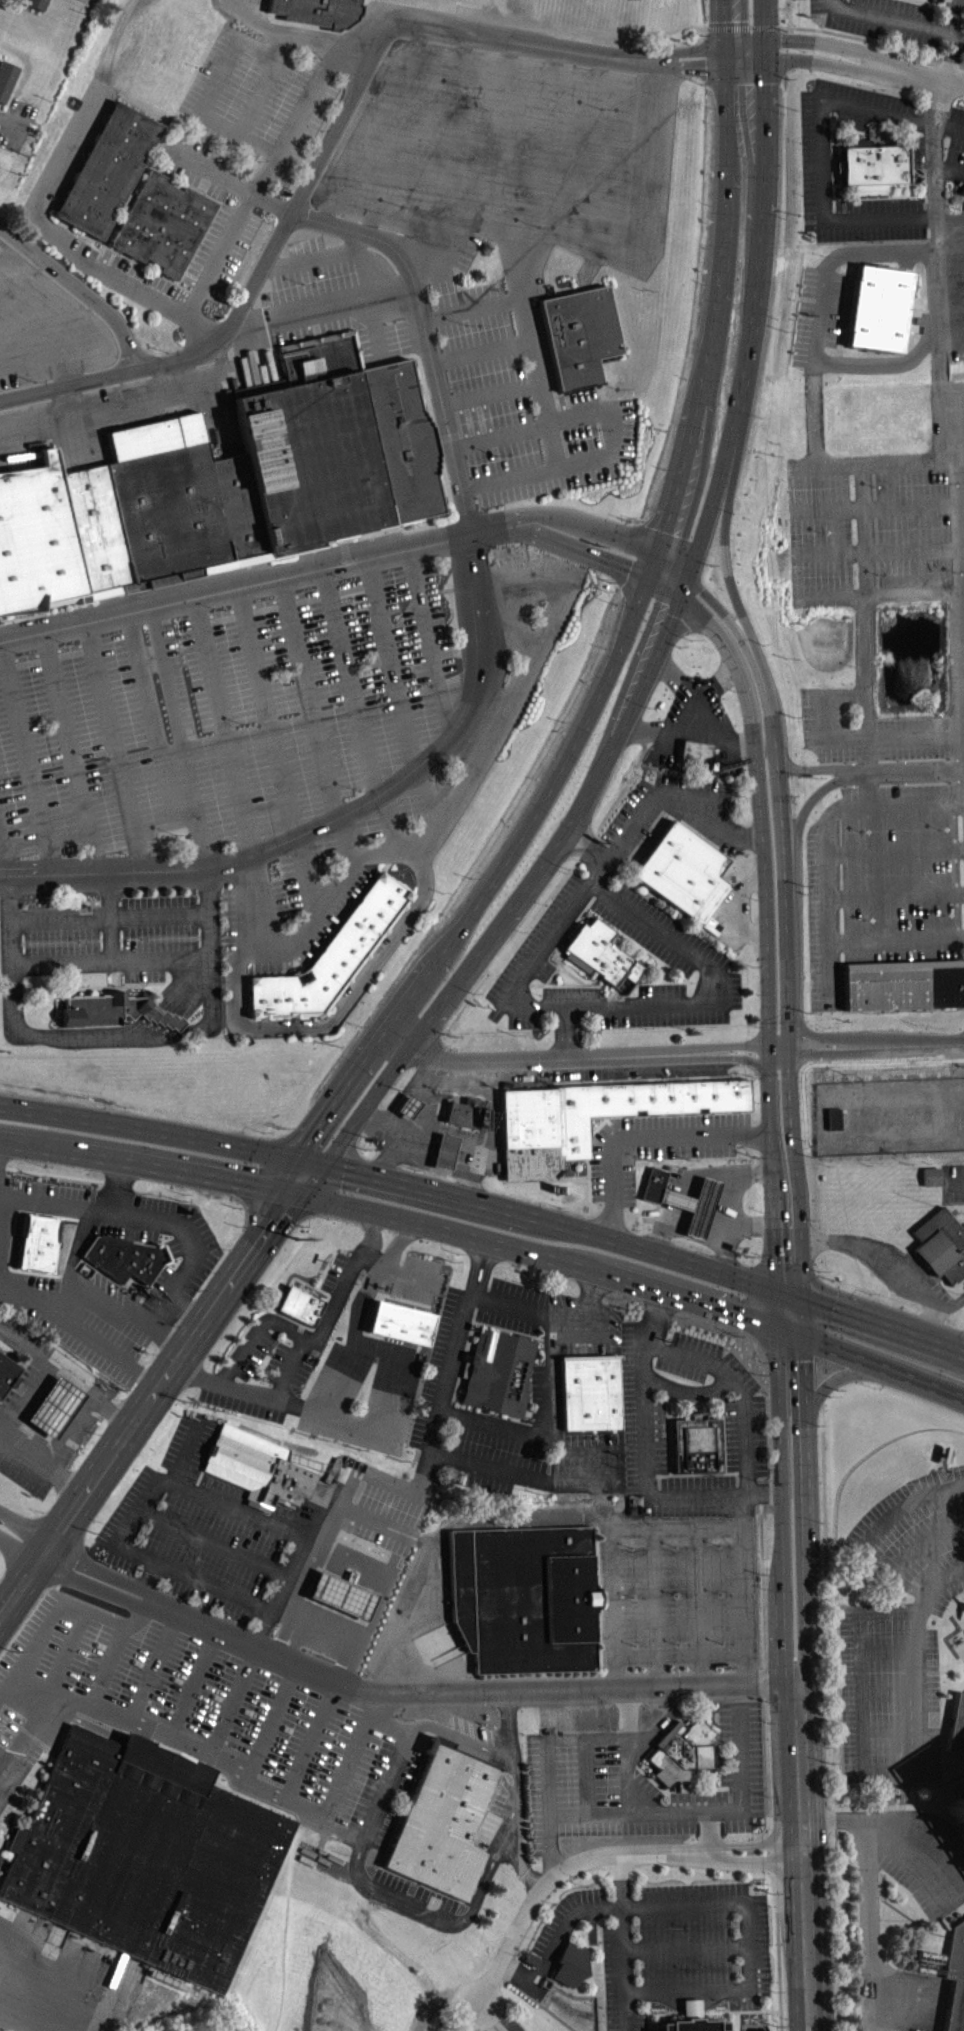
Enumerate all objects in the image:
building: (75, 0)
building: (33, 4)
building: (319, 11)
road: (765, 20)
road: (719, 23)
road: (742, 26)
road: (657, 31)
road: (872, 40)
traffic signals: (764, 41)
road: (742, 44)
road: (825, 44)
traffic signals: (721, 47)
road: (689, 50)
road: (763, 50)
road: (721, 54)
traffic signals: (763, 60)
road: (742, 61)
road: (823, 62)
traffic signals: (722, 63)
street lamp: (195, 64)
road: (691, 64)
road: (923, 75)
street lamp: (688, 77)
building: (5, 79)
street lamp: (466, 86)
road: (313, 97)
street lamp: (602, 107)
street lamp: (321, 128)
parking lot: (443, 138)
road: (817, 155)
parking lot: (814, 160)
road: (317, 162)
building: (913, 162)
building: (869, 167)
building: (107, 168)
street lamp: (402, 206)
building: (163, 222)
street lamp: (539, 226)
road: (936, 241)
road: (760, 243)
road: (226, 250)
road: (513, 253)
street lamp: (303, 282)
road: (79, 287)
road: (472, 306)
building: (877, 306)
road: (718, 313)
parking lot: (818, 315)
street lamp: (465, 323)
road: (819, 324)
building: (580, 334)
street lamp: (166, 350)
road: (481, 350)
building: (320, 355)
street lamp: (34, 380)
road: (489, 391)
parking lot: (521, 405)
road: (612, 427)
street lamp: (600, 429)
street lamp: (495, 453)
building: (336, 454)
road: (911, 459)
road: (961, 485)
road: (875, 504)
building: (160, 508)
road: (708, 509)
road: (594, 529)
building: (36, 539)
road: (864, 539)
street lamp: (493, 545)
road: (876, 547)
road: (587, 551)
traffic signals: (657, 556)
road: (725, 559)
road: (653, 565)
traffic signals: (650, 575)
street lamp: (347, 577)
traffic signals: (687, 577)
road: (263, 579)
road: (664, 584)
road: (877, 591)
traffic signals: (679, 594)
street lamp: (220, 607)
road: (722, 612)
road: (687, 626)
street lamp: (64, 640)
road: (428, 642)
road: (391, 660)
road: (477, 677)
road: (715, 679)
road: (346, 682)
street lamp: (417, 684)
road: (307, 696)
parking lot: (885, 700)
road: (696, 710)
road: (267, 711)
parking lot: (231, 712)
street lamp: (246, 722)
road: (153, 726)
road: (222, 726)
road: (659, 728)
road: (824, 729)
parking lot: (696, 731)
road: (915, 734)
road: (179, 736)
road: (113, 744)
road: (70, 750)
building: (694, 751)
road: (26, 755)
street lamp: (95, 757)
road: (817, 766)
road: (910, 768)
street lamp: (357, 789)
road: (670, 798)
road: (758, 798)
road: (806, 804)
road: (832, 811)
parking lot: (675, 815)
road: (389, 816)
street lamp: (173, 833)
road: (345, 843)
road: (427, 845)
road: (894, 848)
road: (587, 849)
road: (780, 849)
road: (4, 853)
street lamp: (330, 873)
building: (682, 873)
road: (305, 878)
road: (493, 879)
parking lot: (314, 885)
road: (524, 892)
road: (895, 893)
road: (332, 894)
road: (734, 909)
road: (130, 913)
building: (707, 927)
parking lot: (113, 931)
parking lot: (658, 931)
street lamp: (198, 935)
street lamp: (141, 937)
road: (862, 939)
street lamp: (79, 940)
building: (603, 954)
building: (333, 955)
road: (183, 957)
parking lot: (537, 957)
road: (61, 961)
road: (533, 963)
building: (905, 982)
road: (181, 986)
parking lot: (572, 994)
road: (708, 995)
parking lot: (674, 1004)
building: (113, 1009)
road: (146, 1023)
road: (820, 1032)
road: (769, 1035)
road: (113, 1037)
road: (911, 1043)
road: (738, 1044)
road: (850, 1048)
road: (815, 1052)
road: (743, 1057)
road: (543, 1058)
road: (788, 1066)
gas station: (407, 1105)
building: (406, 1110)
building: (464, 1111)
building: (833, 1123)
road: (146, 1131)
building: (544, 1135)
road: (645, 1138)
traffic signals: (303, 1144)
parking lot: (659, 1146)
gas station: (444, 1150)
building: (443, 1155)
road: (308, 1161)
traffic signals: (344, 1169)
road: (727, 1170)
building: (930, 1180)
parking lot: (953, 1181)
building: (653, 1183)
road: (953, 1183)
road: (277, 1185)
traffic signals: (255, 1187)
road: (301, 1194)
parking lot: (45, 1197)
road: (50, 1198)
building: (693, 1204)
gas station: (693, 1204)
traffic signals: (283, 1208)
road: (800, 1208)
road: (406, 1217)
road: (724, 1219)
road: (564, 1225)
road: (187, 1239)
building: (940, 1244)
parking lot: (167, 1246)
building: (35, 1248)
building: (123, 1256)
road: (892, 1260)
road: (70, 1264)
road: (385, 1267)
parking lot: (382, 1275)
road: (345, 1282)
traffic signals: (777, 1289)
traffic signals: (803, 1297)
road: (363, 1298)
building: (299, 1304)
road: (125, 1309)
road: (589, 1316)
traffic signals: (778, 1320)
building: (401, 1321)
parking lot: (104, 1323)
road: (280, 1326)
road: (931, 1327)
road: (883, 1328)
traffic signals: (804, 1331)
road: (551, 1338)
road: (99, 1344)
parking lot: (569, 1348)
road: (778, 1361)
road: (883, 1364)
building: (7, 1370)
parking lot: (441, 1370)
building: (498, 1372)
road: (160, 1382)
parking lot: (319, 1382)
road: (736, 1387)
building: (590, 1390)
building: (54, 1404)
gas station: (54, 1404)
parking lot: (662, 1415)
road: (377, 1427)
road: (508, 1430)
road: (67, 1432)
building: (695, 1443)
road: (189, 1449)
road: (589, 1449)
road: (22, 1452)
road: (646, 1455)
building: (258, 1467)
road: (391, 1479)
road: (150, 1493)
road: (961, 1499)
road: (347, 1505)
parking lot: (387, 1507)
parking lot: (194, 1529)
road: (25, 1532)
road: (871, 1533)
road: (609, 1537)
road: (213, 1541)
road: (922, 1541)
road: (19, 1551)
road: (284, 1576)
parking lot: (681, 1579)
road: (939, 1582)
road: (25, 1585)
road: (213, 1585)
road: (750, 1586)
building: (342, 1593)
gas station: (342, 1593)
building: (523, 1602)
road: (701, 1605)
road: (655, 1606)
road: (139, 1615)
road: (48, 1621)
parking lot: (901, 1629)
road: (888, 1650)
road: (107, 1664)
road: (810, 1664)
road: (154, 1666)
road: (58, 1670)
road: (798, 1679)
road: (32, 1680)
road: (862, 1680)
road: (194, 1683)
road: (887, 1691)
road: (402, 1694)
road: (231, 1699)
road: (74, 1701)
road: (19, 1710)
road: (912, 1712)
road: (109, 1713)
parking lot: (200, 1715)
road: (269, 1718)
road: (507, 1724)
building: (957, 1725)
road: (150, 1728)
road: (887, 1732)
road: (310, 1740)
road: (627, 1749)
road: (19, 1751)
building: (682, 1756)
road: (547, 1765)
road: (586, 1775)
parking lot: (636, 1783)
road: (383, 1790)
building: (955, 1791)
road: (305, 1809)
road: (695, 1810)
road: (883, 1817)
building: (440, 1826)
road: (709, 1831)
parking lot: (922, 1852)
road: (609, 1853)
road: (789, 1855)
road: (490, 1858)
building: (144, 1860)
road: (518, 1864)
parking lot: (413, 1899)
road: (702, 1902)
road: (870, 1924)
road: (622, 1941)
parking lot: (670, 1945)
road: (685, 1946)
road: (49, 1950)
road: (778, 1953)
building: (570, 1962)
building: (956, 1979)
parking lot: (913, 2000)
road: (488, 2016)
building: (691, 2024)

